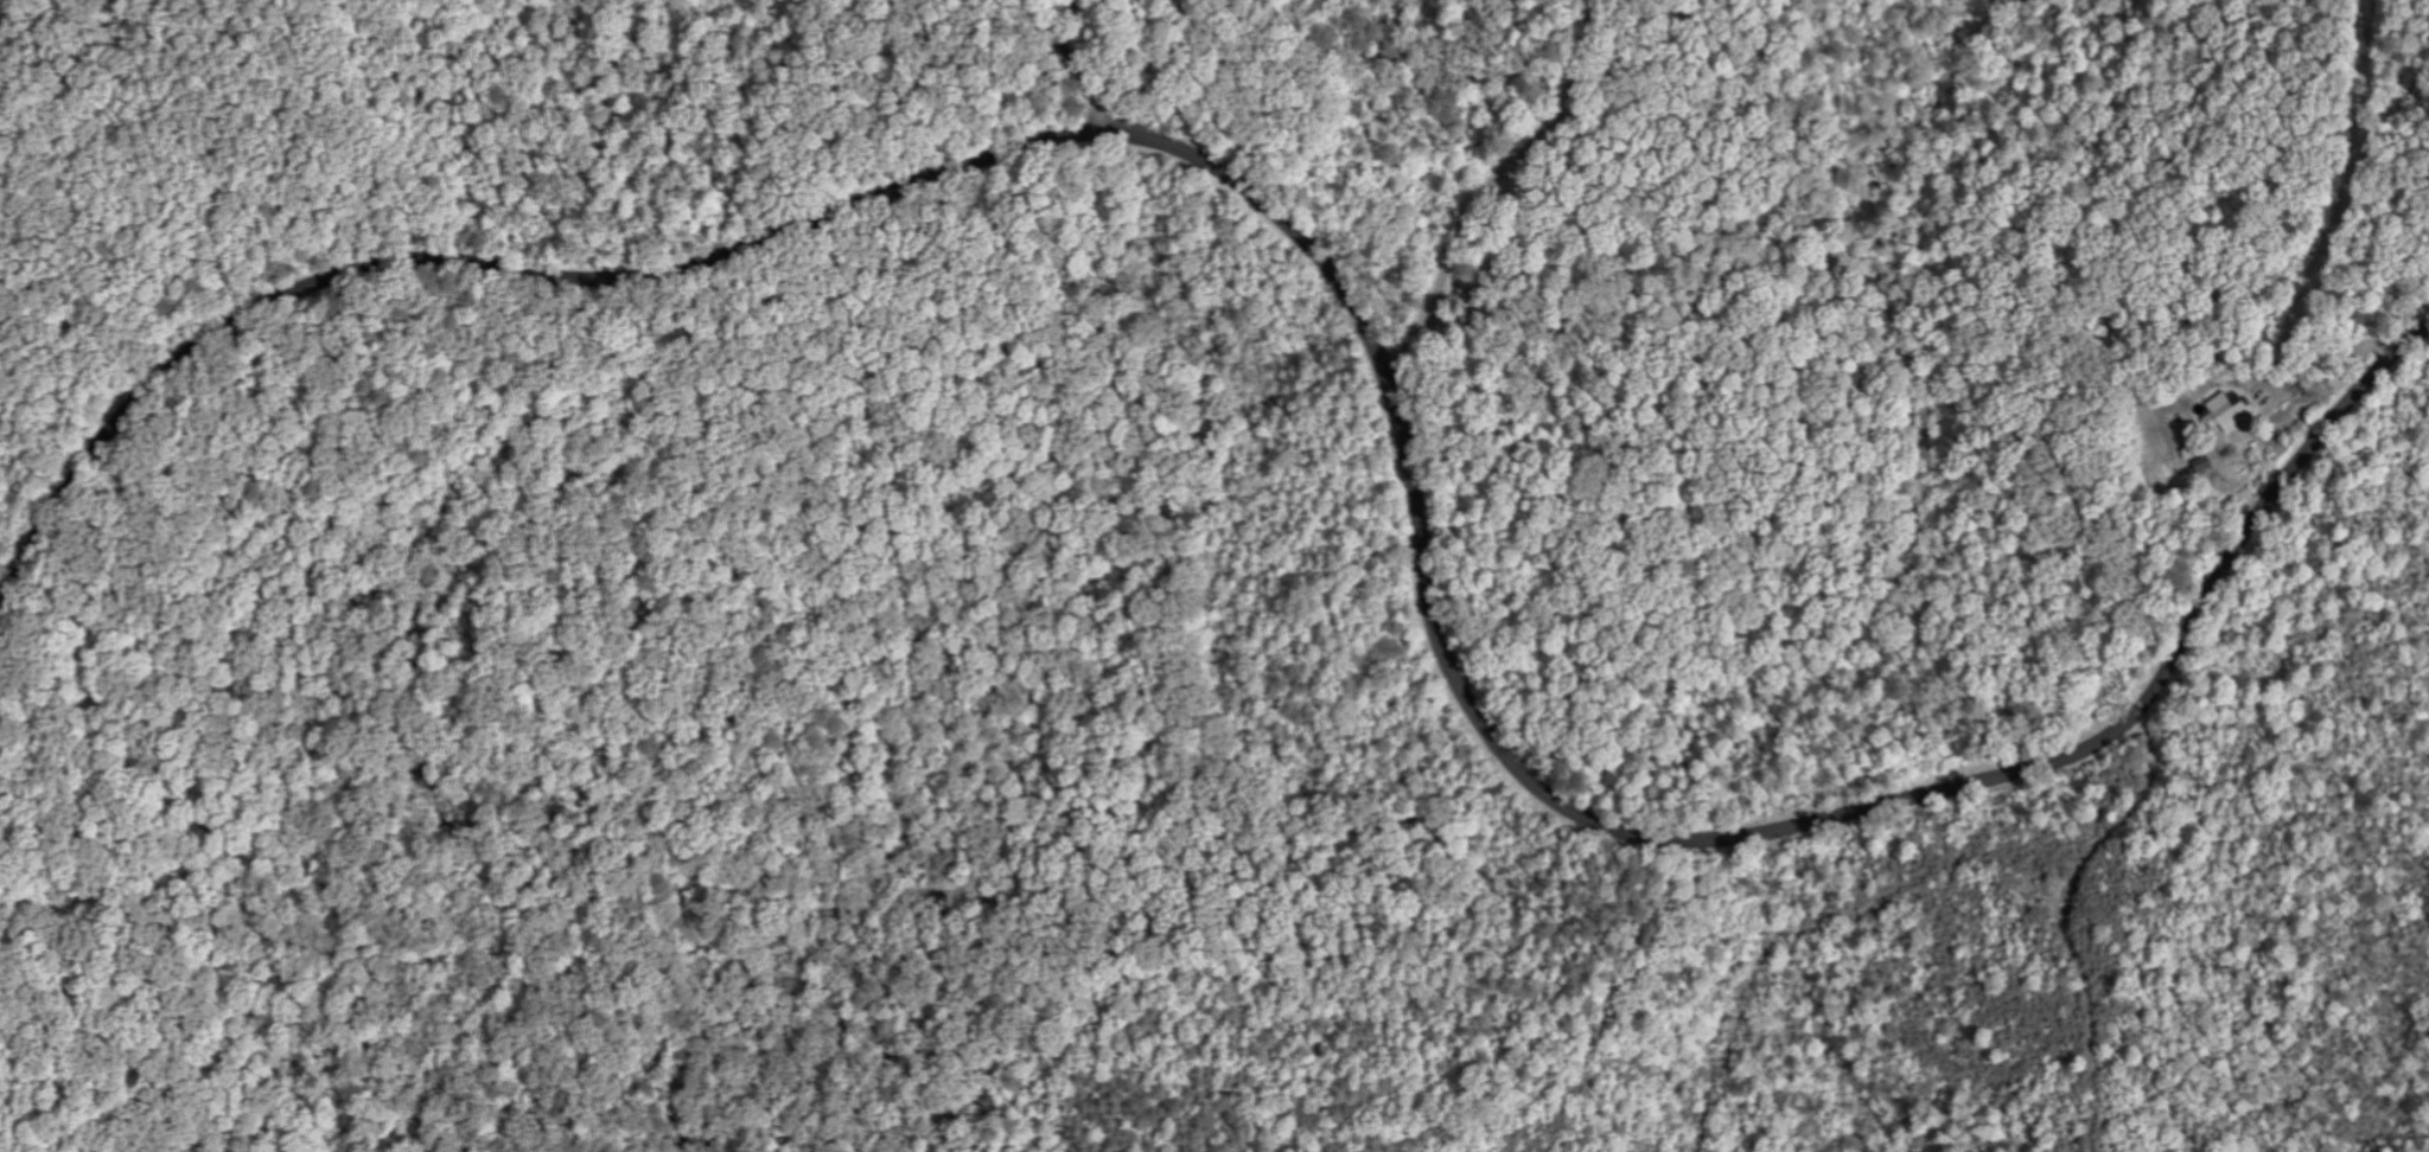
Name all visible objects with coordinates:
road: (1082, 75)
road: (1493, 185)
road: (1359, 315)
building: (2230, 414)
building: (2210, 466)
road: (1908, 706)
road: (2070, 926)

